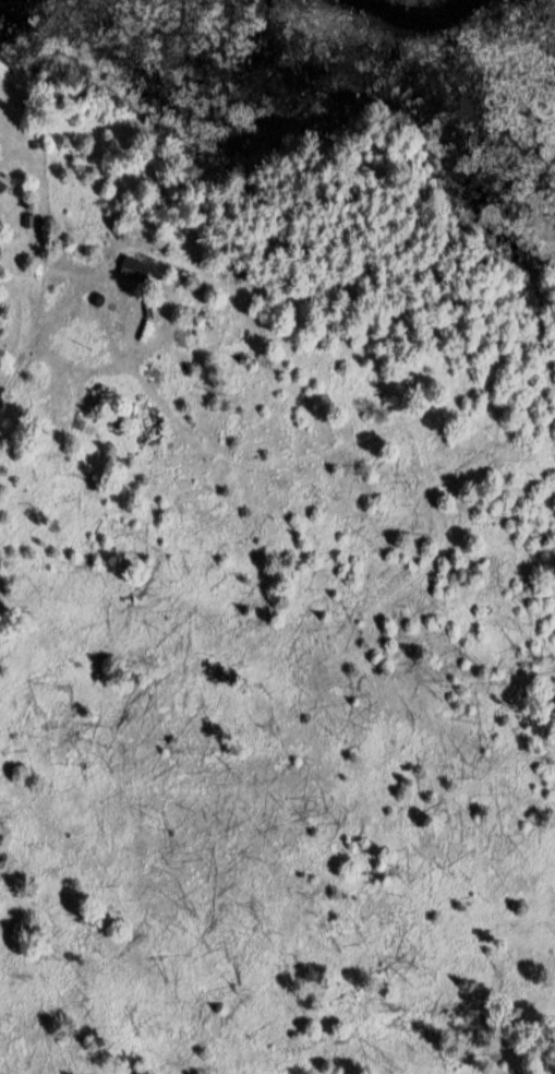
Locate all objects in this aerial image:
building: (136, 268)

